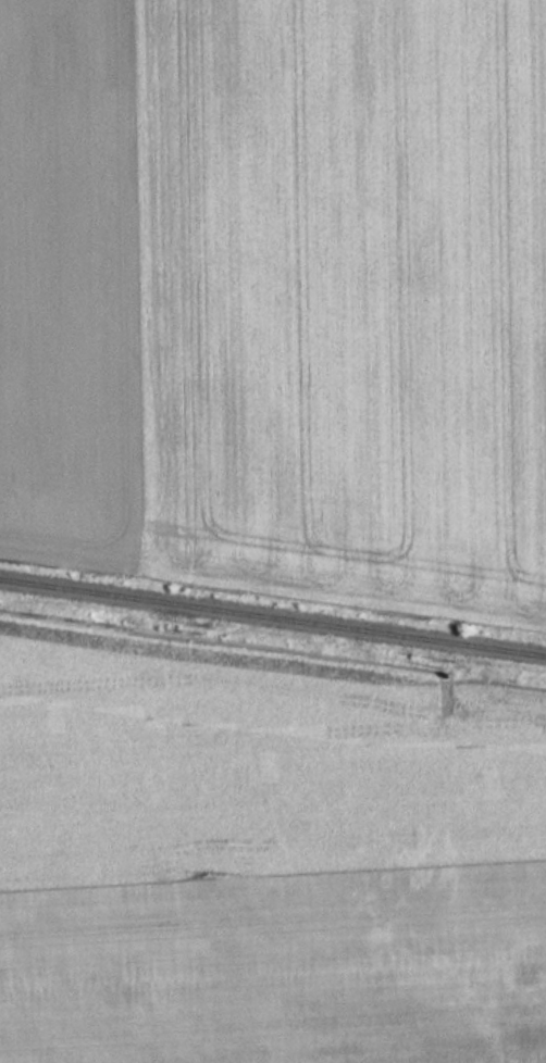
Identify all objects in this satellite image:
railway: (273, 616)

